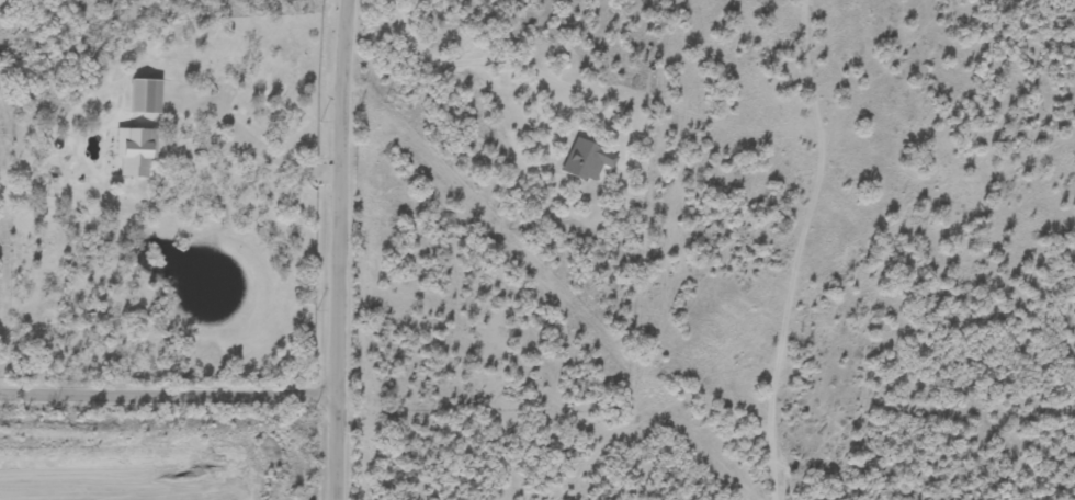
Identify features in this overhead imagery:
road: (497, 66)
building: (147, 96)
road: (258, 148)
building: (136, 154)
building: (587, 161)
road: (340, 249)
road: (168, 389)
building: (272, 454)

